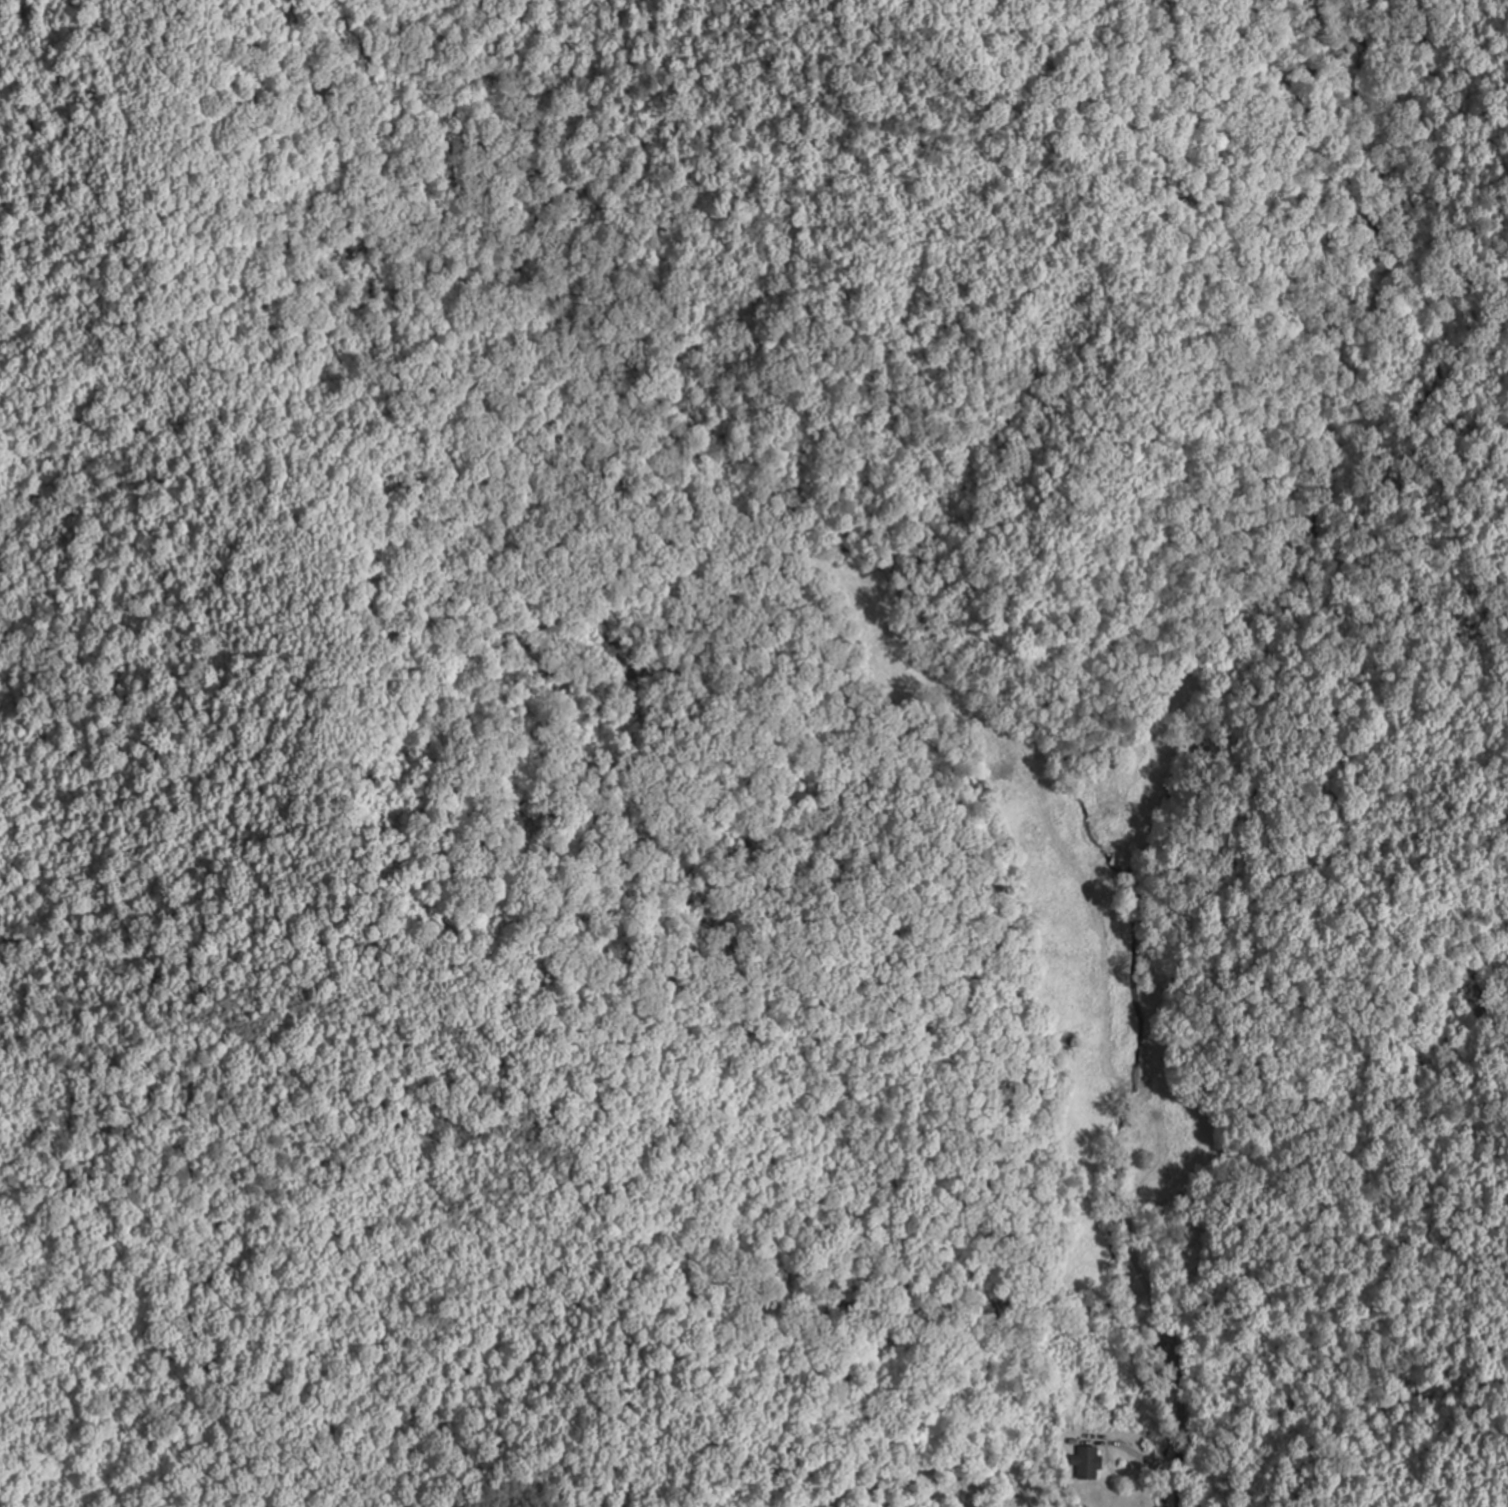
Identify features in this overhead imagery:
road: (1175, 1453)
building: (1086, 1461)

